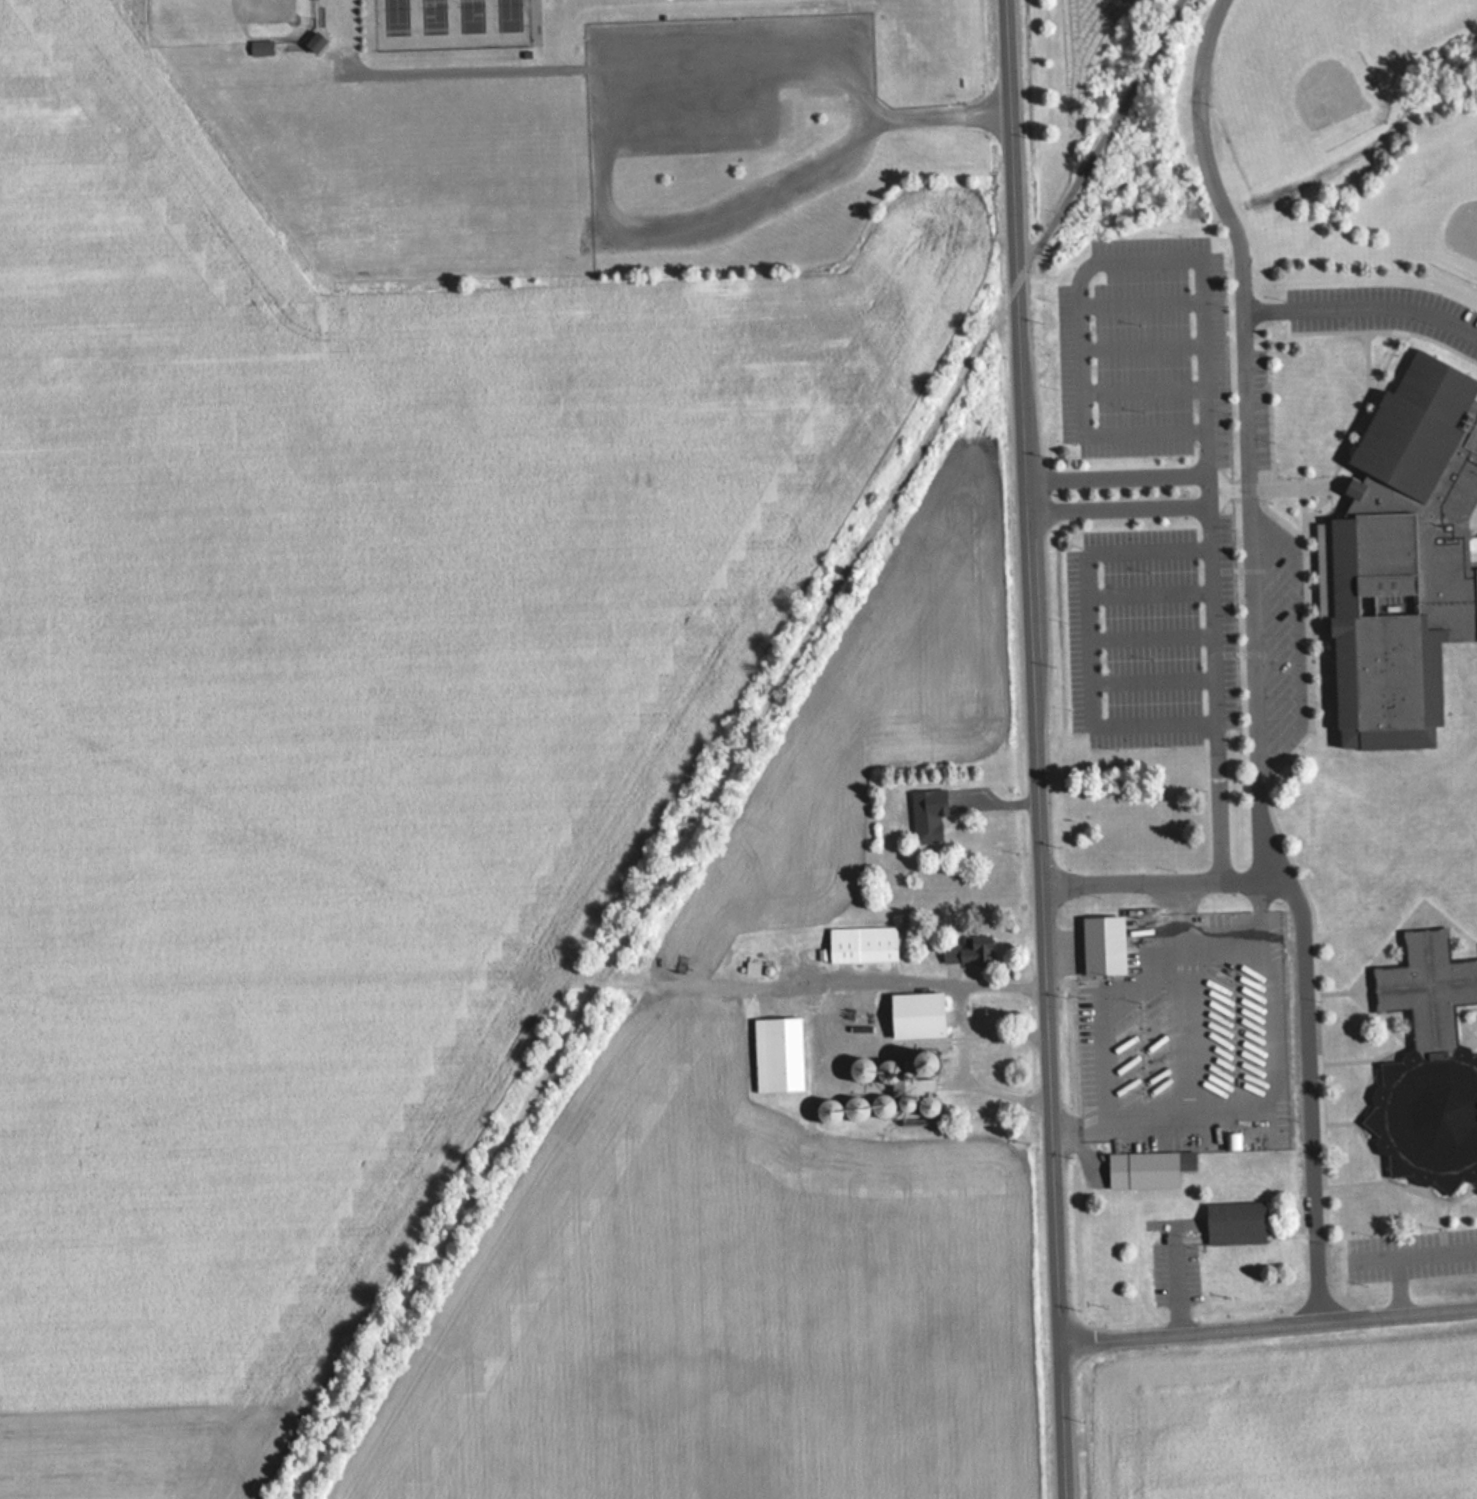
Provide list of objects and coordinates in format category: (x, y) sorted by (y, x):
park: (229, 16)
park: (454, 22)
building: (314, 43)
building: (259, 47)
road: (1361, 302)
road: (1201, 449)
road: (1202, 484)
building: (1402, 556)
road: (1149, 590)
road: (1092, 635)
road: (1150, 635)
road: (1250, 659)
road: (1151, 677)
road: (1036, 749)
road: (738, 751)
building: (926, 819)
road: (1247, 872)
road: (1242, 934)
building: (861, 943)
building: (1103, 944)
building: (968, 952)
road: (954, 1004)
road: (1098, 1005)
building: (916, 1014)
building: (839, 1023)
building: (777, 1054)
building: (1428, 1066)
building: (898, 1084)
building: (882, 1106)
building: (855, 1109)
building: (832, 1112)
building: (1147, 1168)
building: (1234, 1222)
road: (1410, 1256)
road: (1268, 1323)

